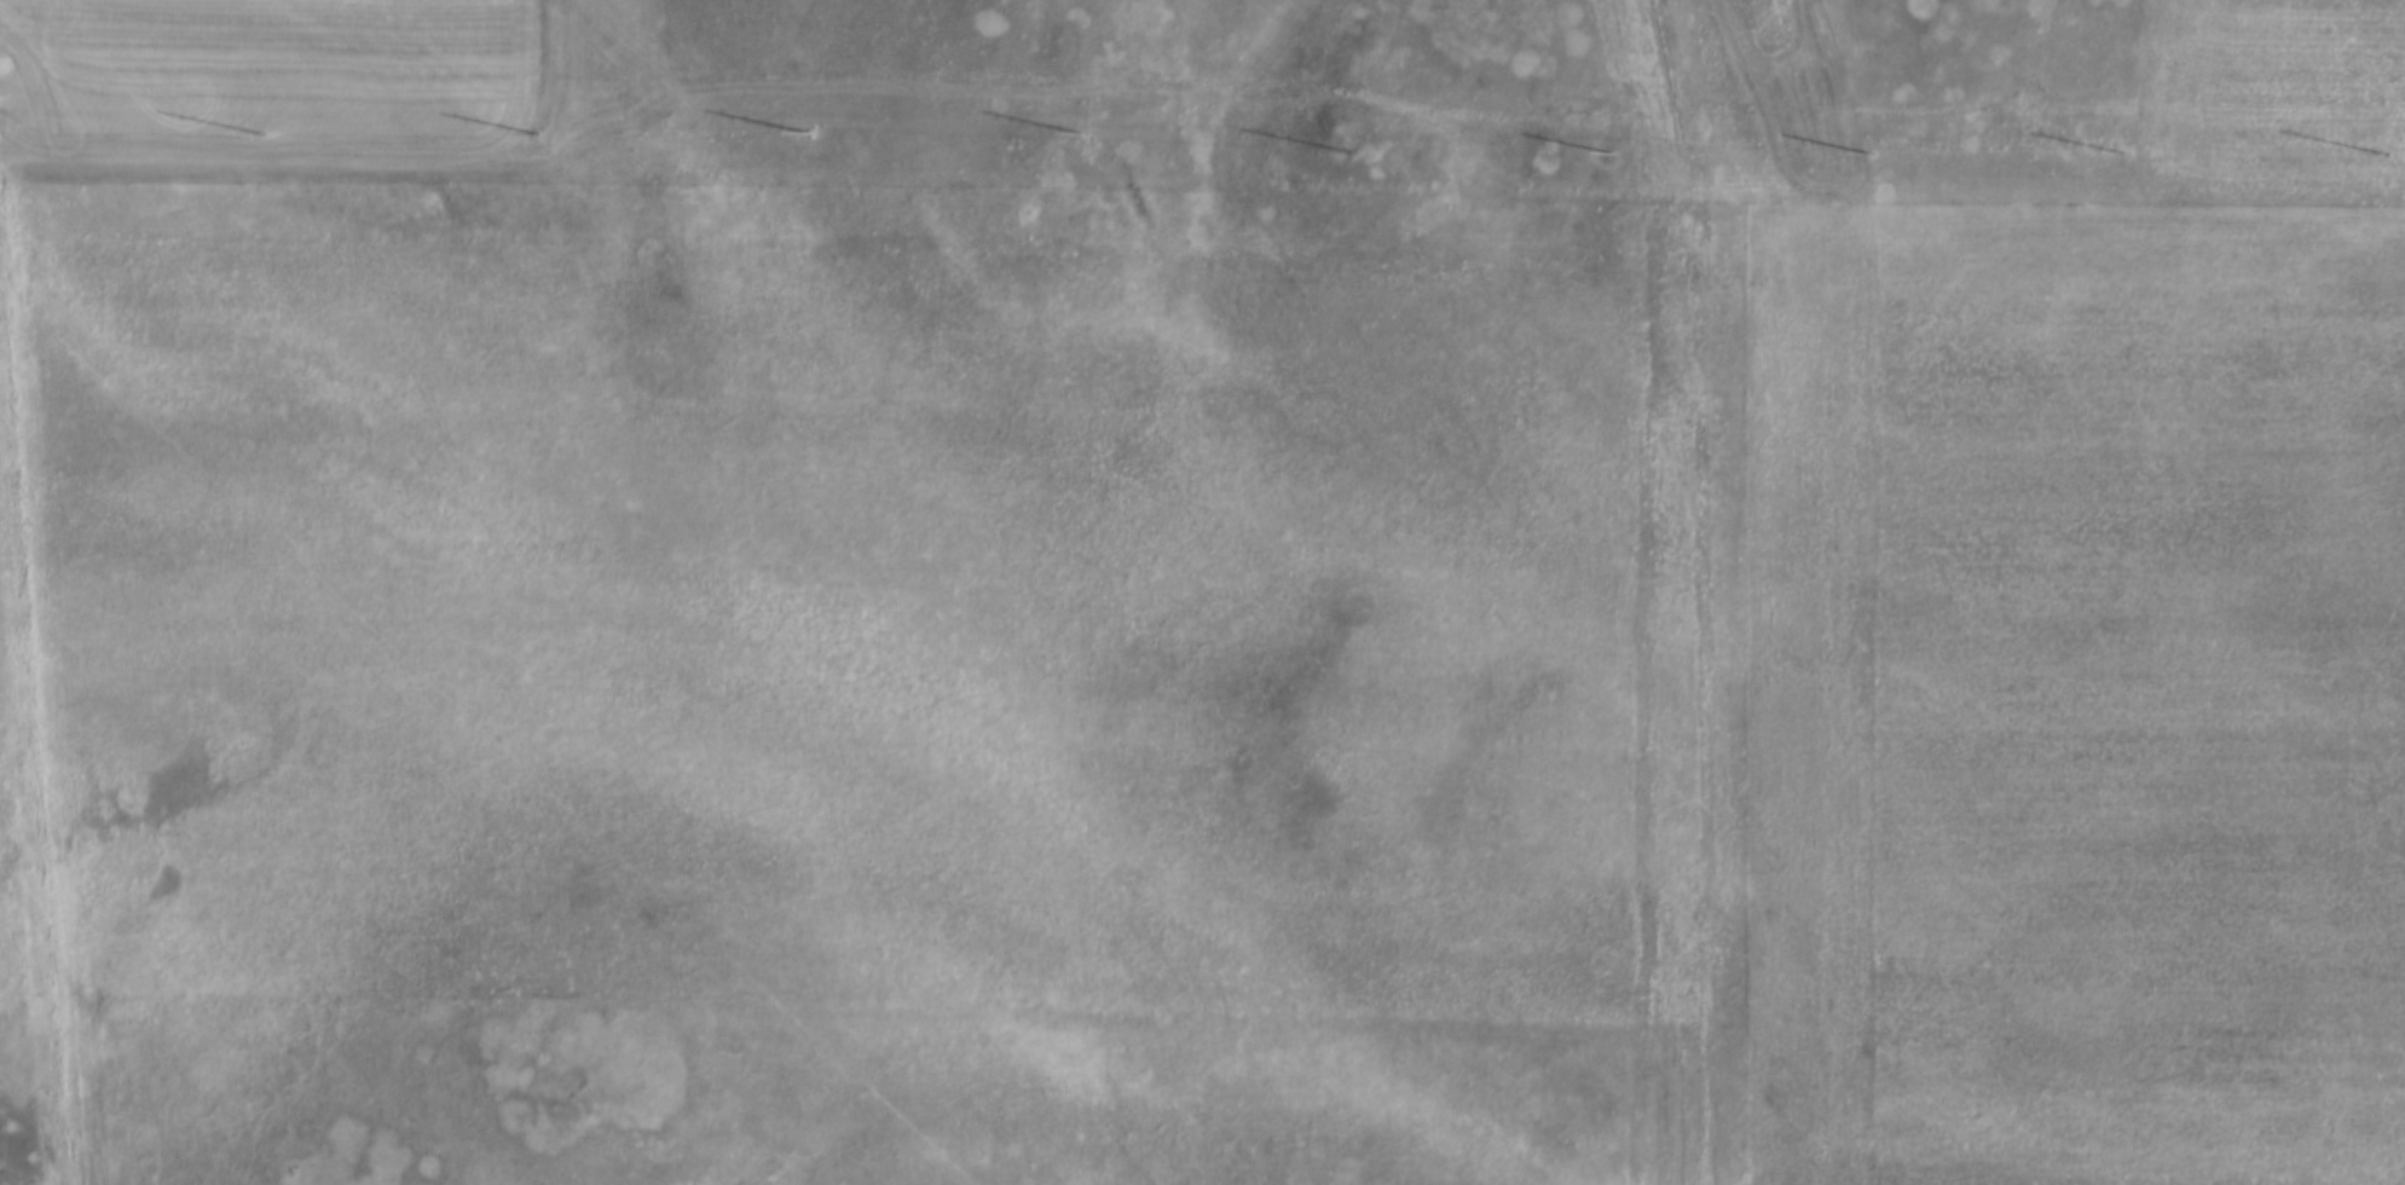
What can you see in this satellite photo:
road: (842, 1106)

